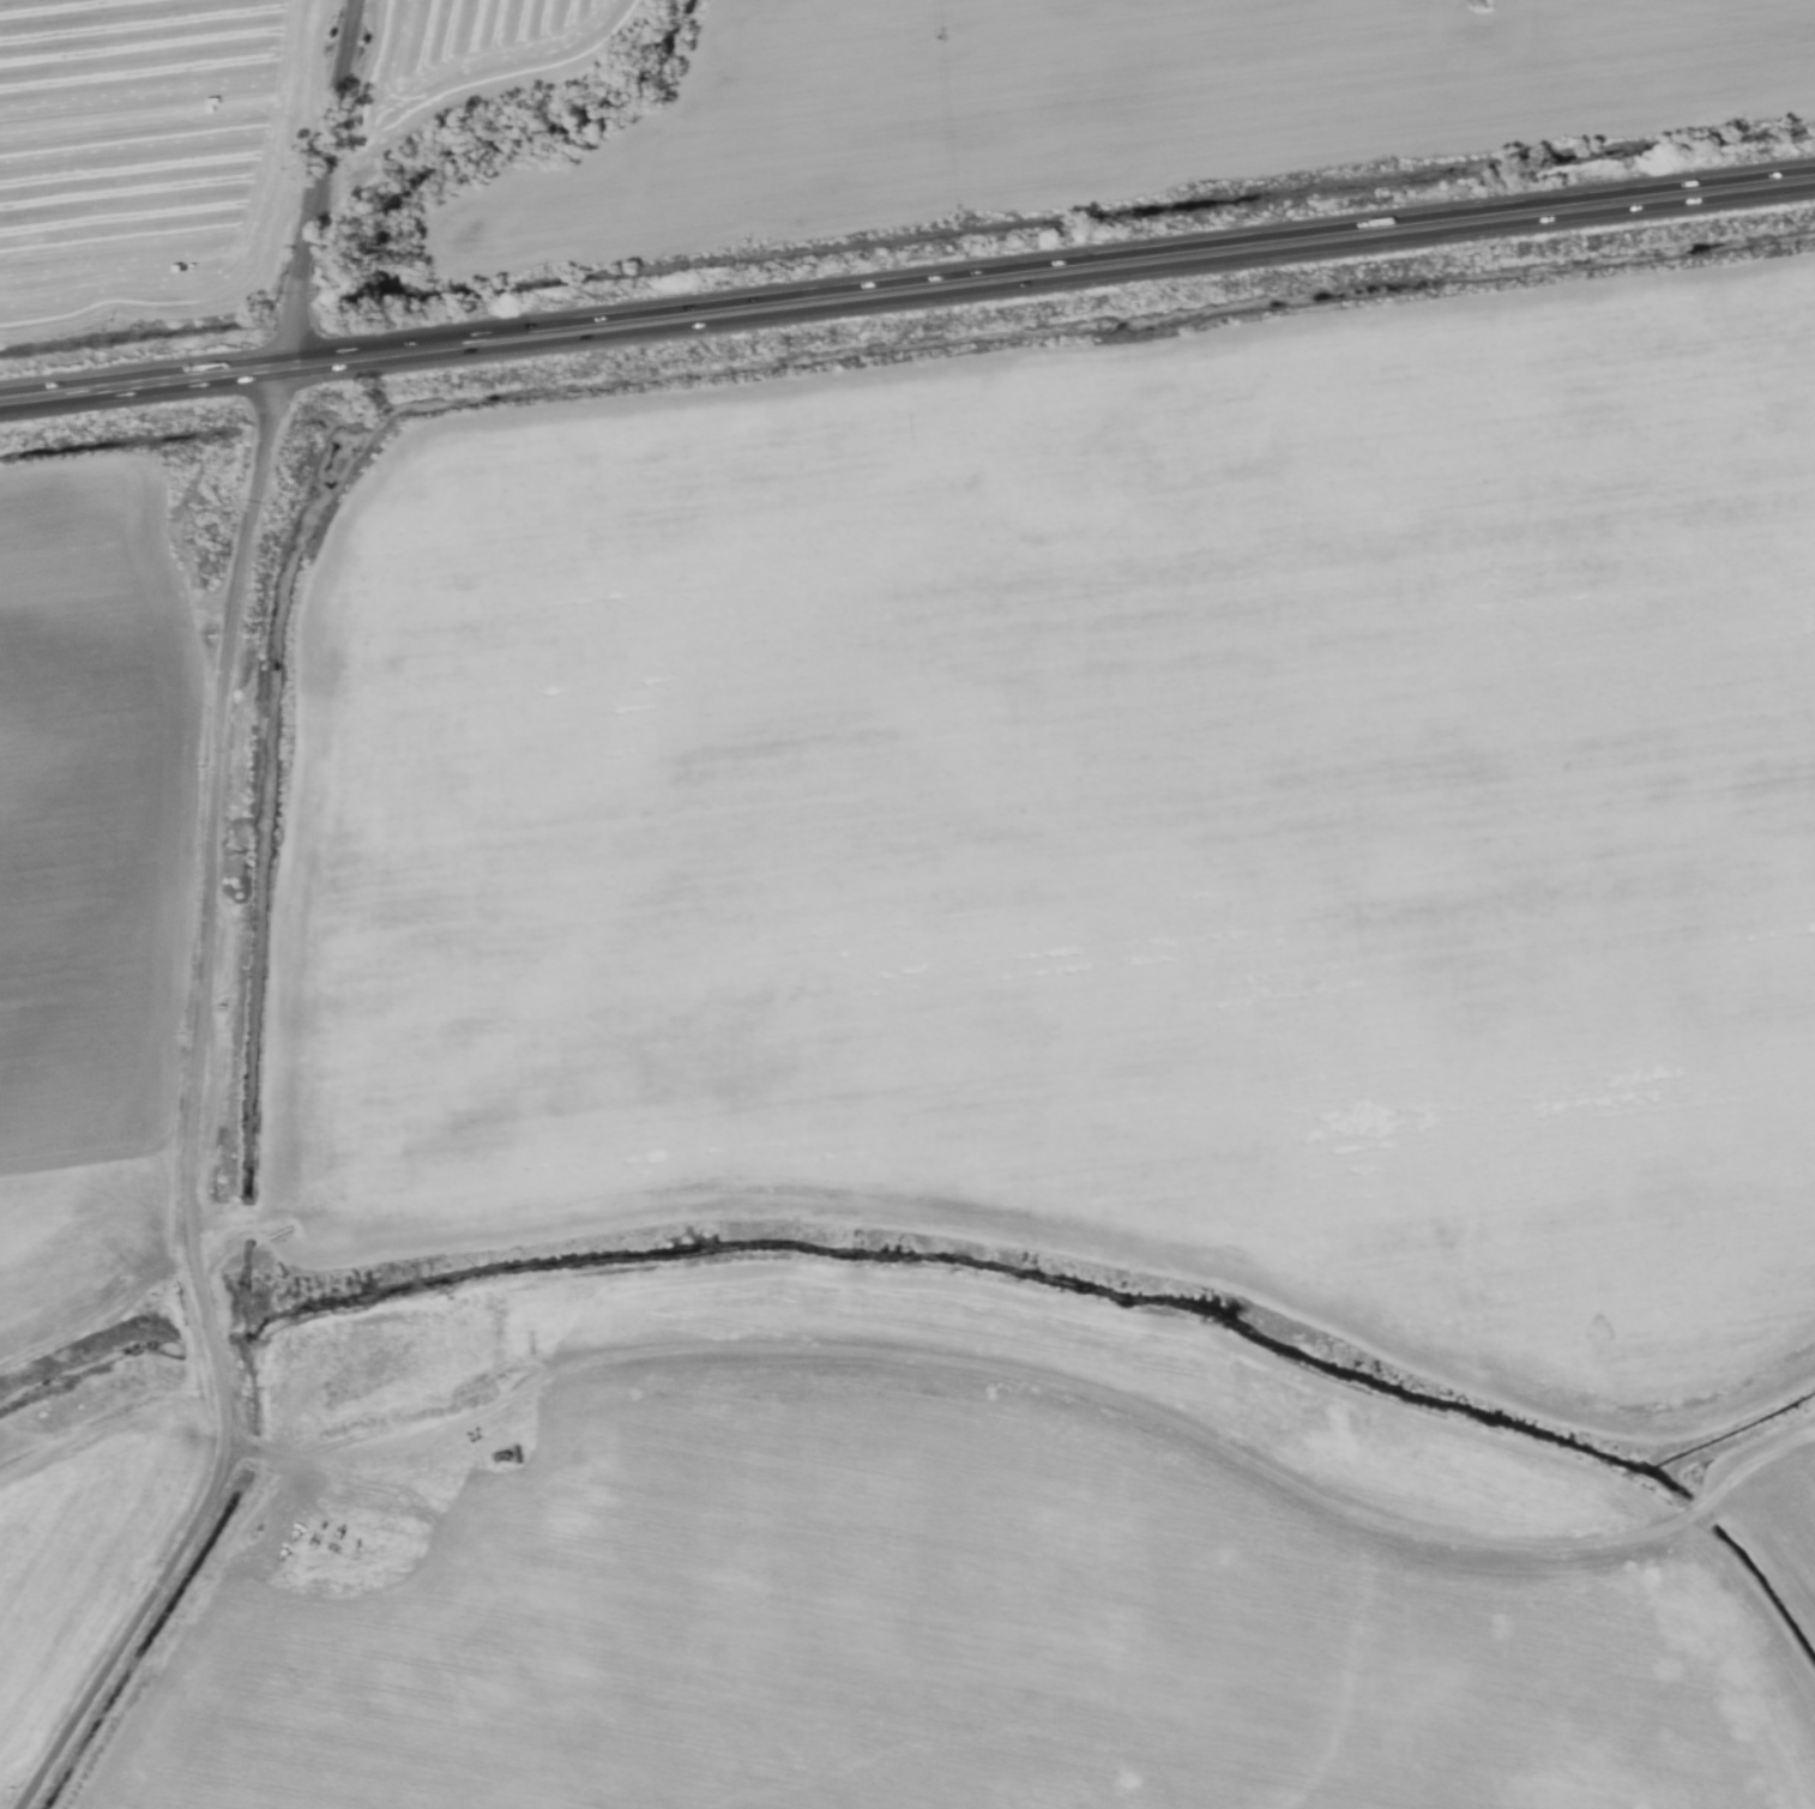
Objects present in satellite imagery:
power tower: (1476, 8)
road: (336, 83)
road: (307, 224)
road: (906, 285)
road: (906, 303)
road: (197, 1071)

